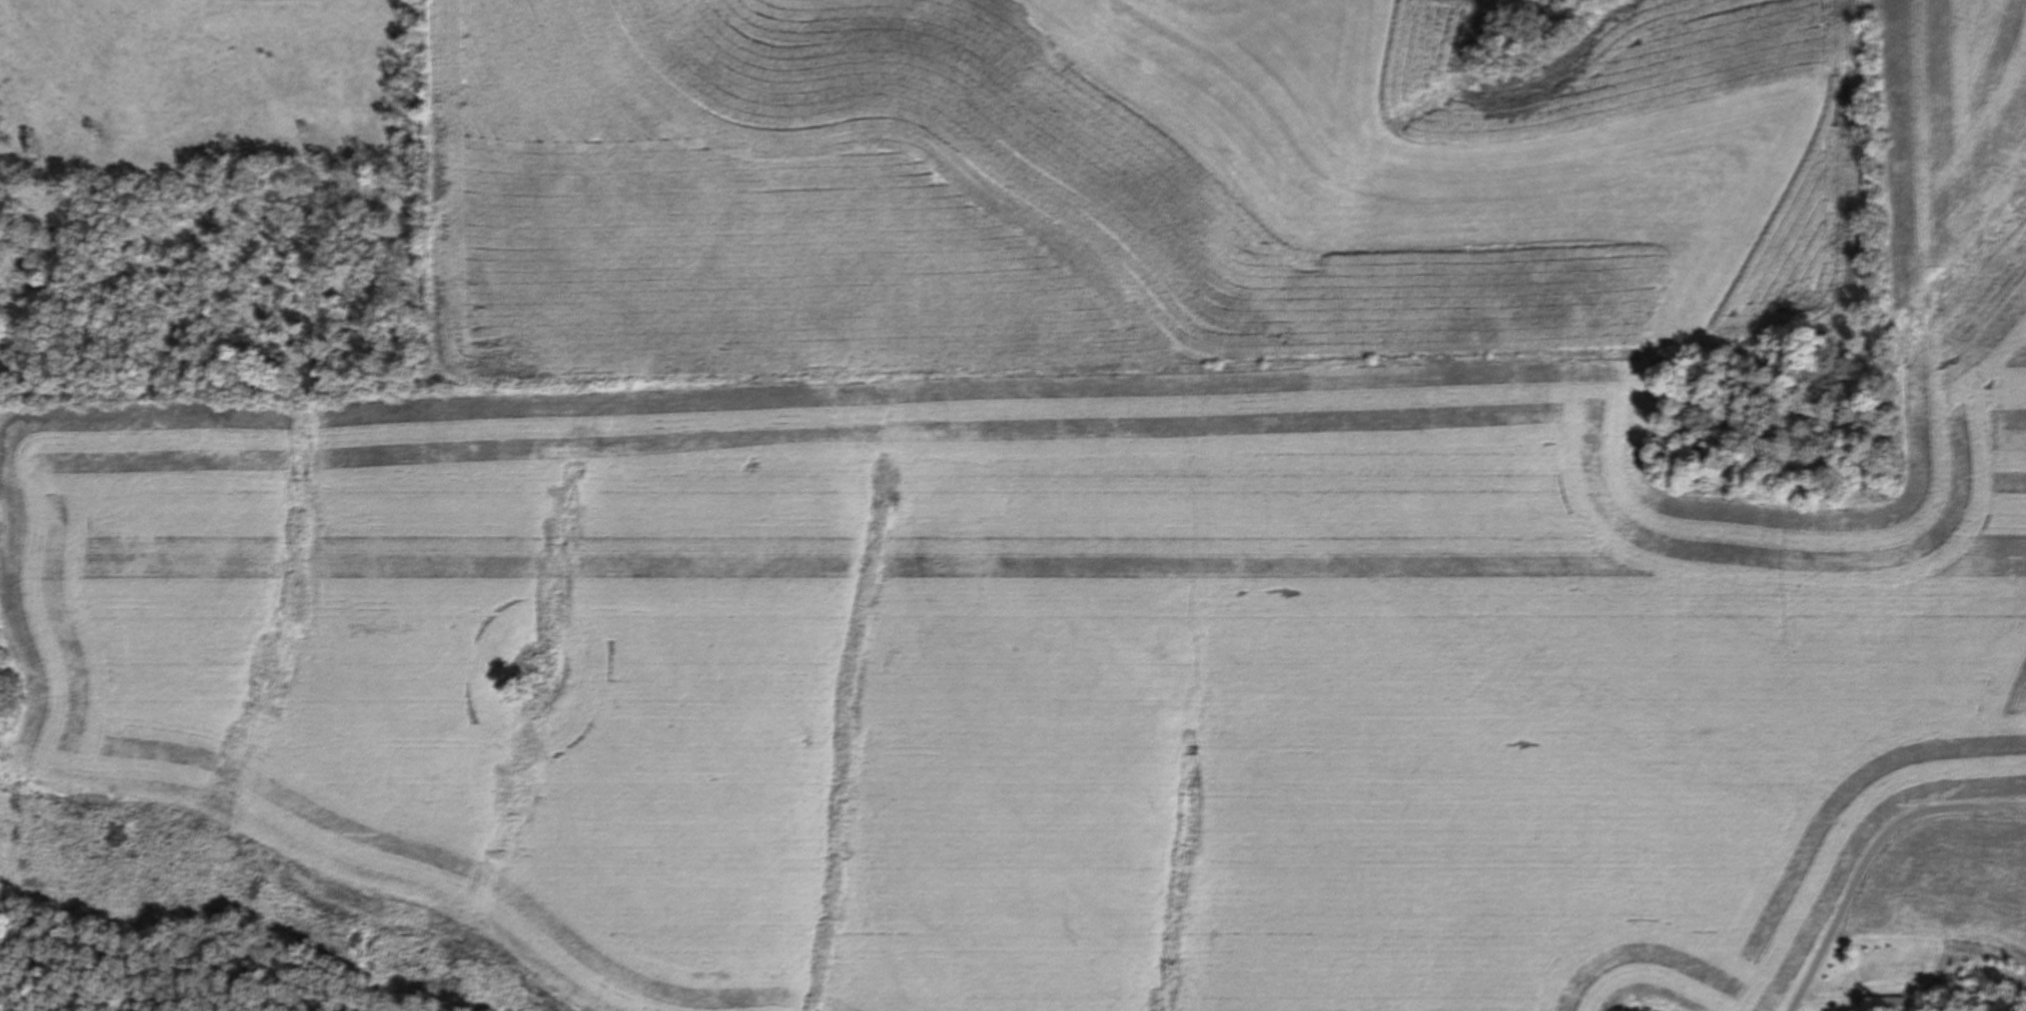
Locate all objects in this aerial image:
road: (1884, 843)
building: (1884, 1004)

